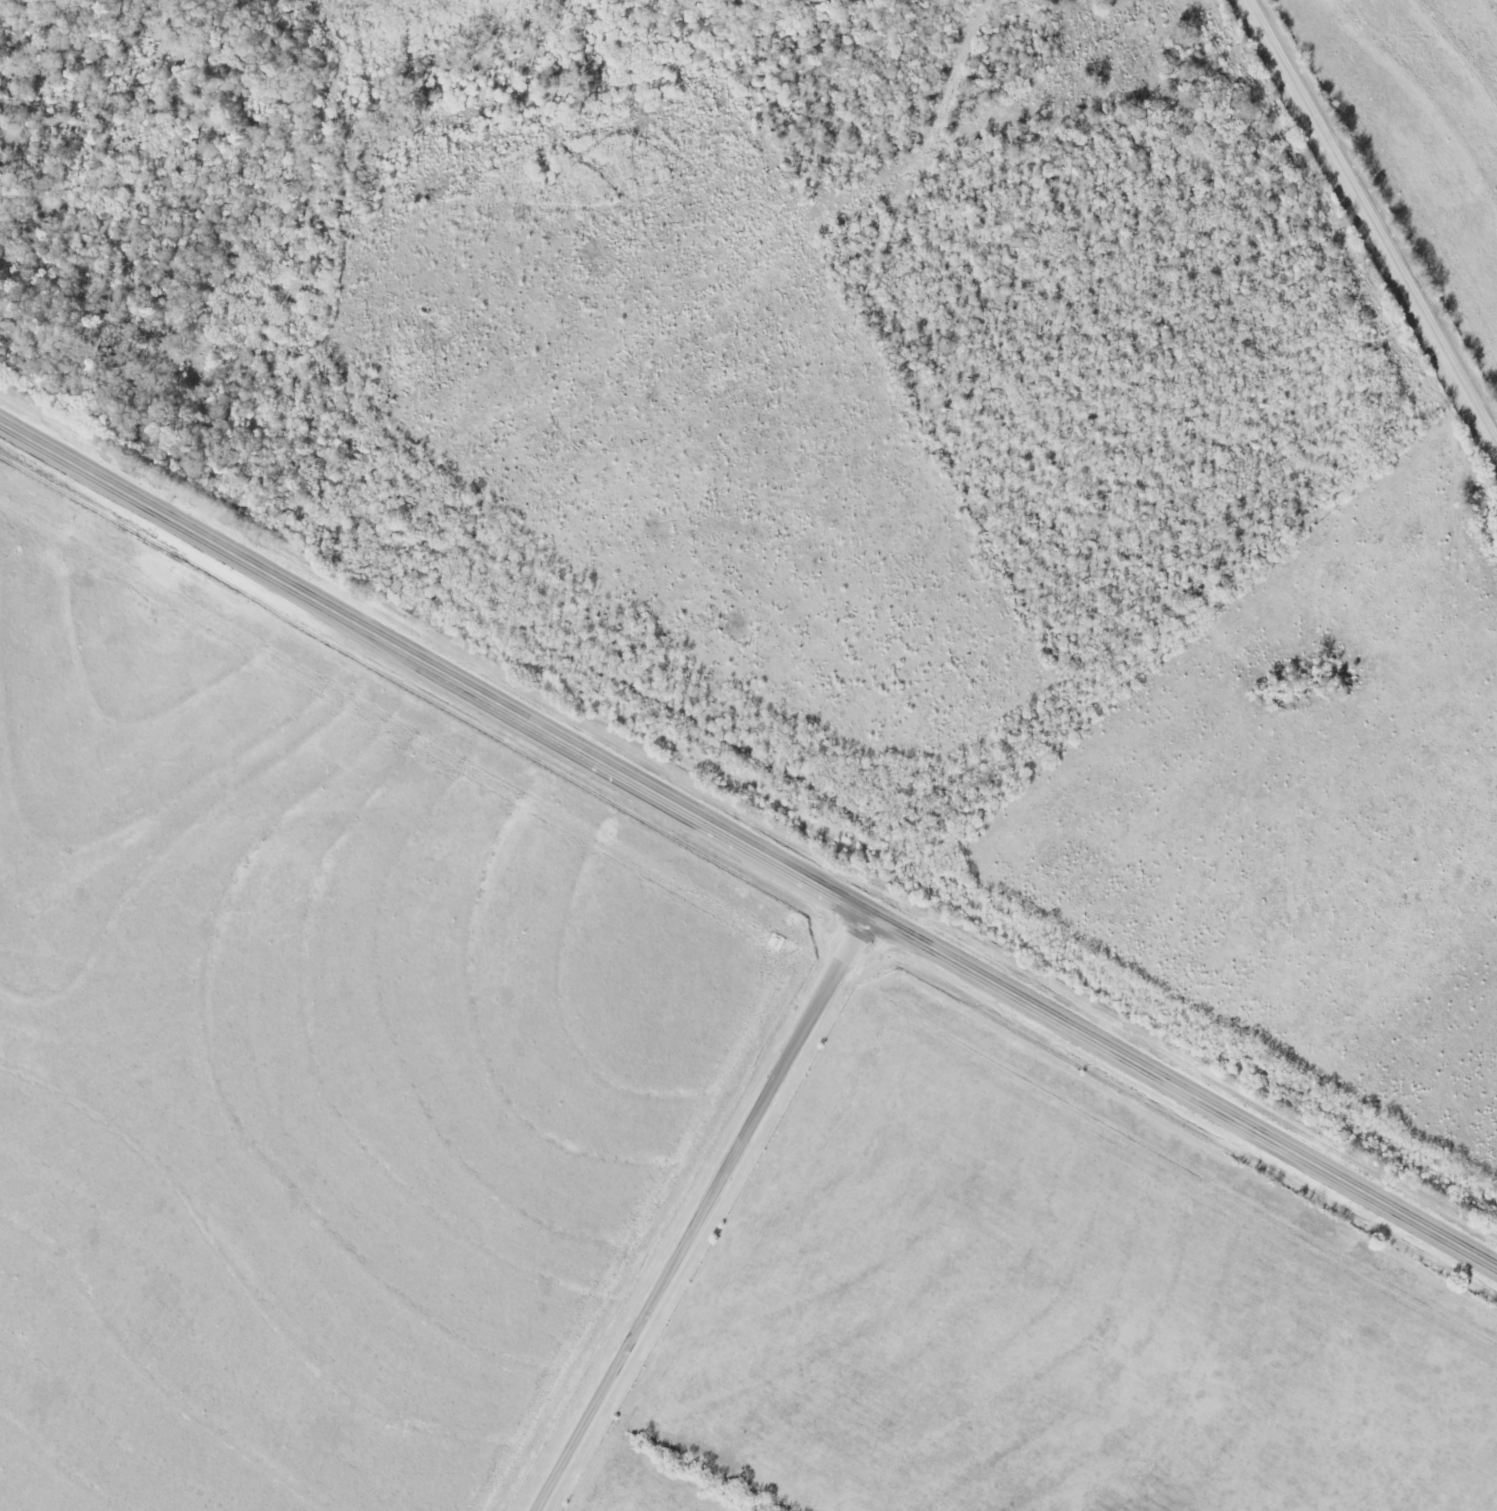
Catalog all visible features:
road: (1374, 217)
road: (435, 672)
road: (1183, 1090)
road: (704, 1213)

